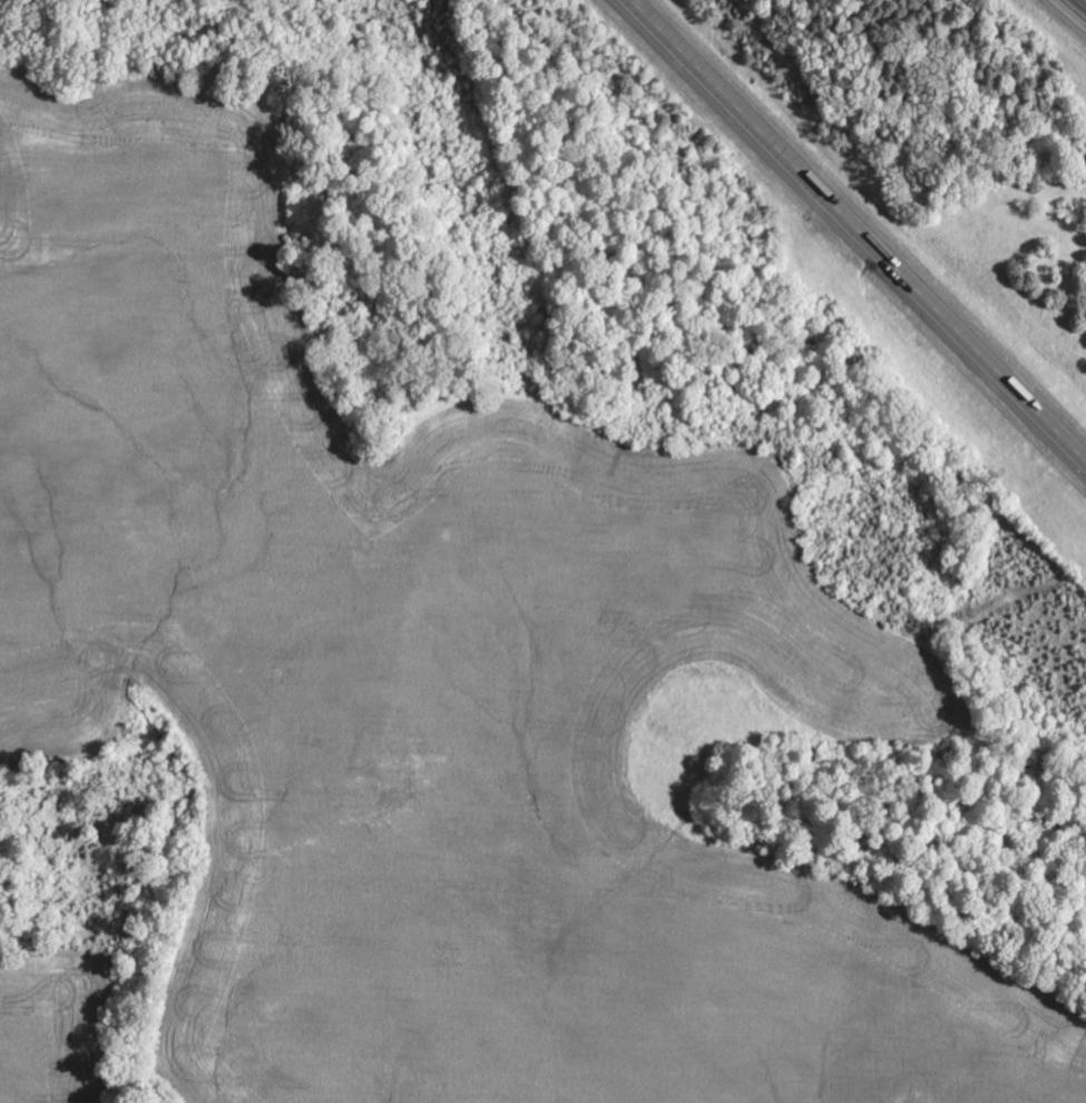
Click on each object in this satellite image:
road: (1074, 9)
road: (857, 232)

